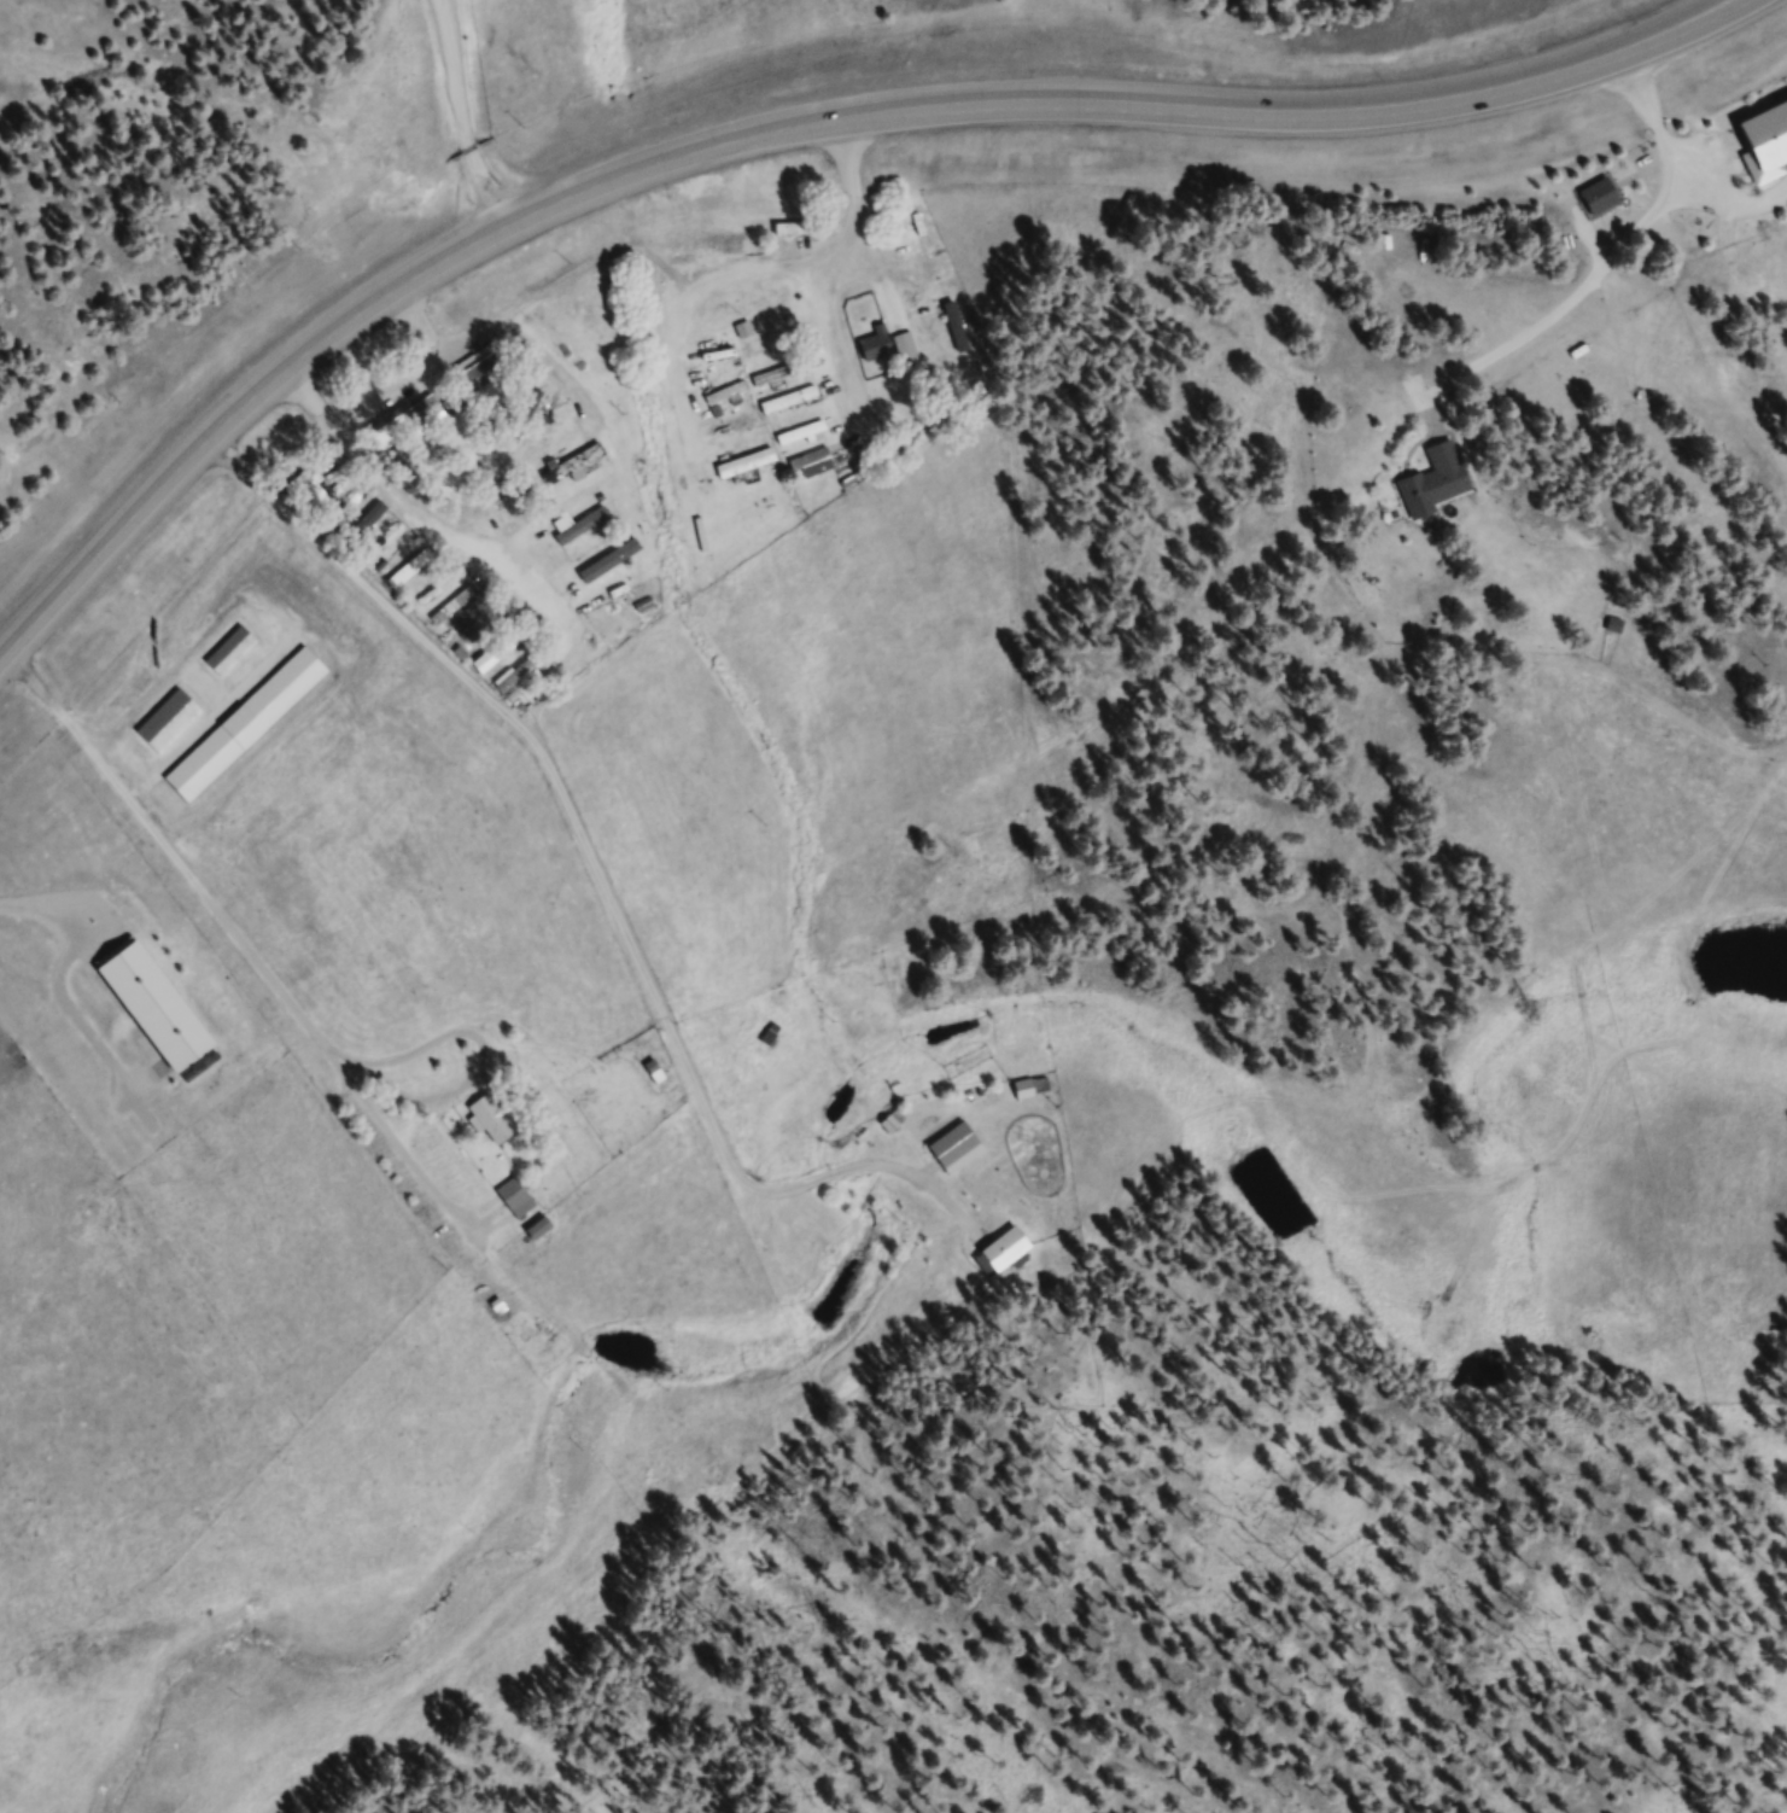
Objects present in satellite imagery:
road: (466, 115)
road: (786, 126)
building: (1770, 148)
building: (1608, 200)
building: (801, 233)
building: (929, 243)
building: (714, 250)
road: (741, 275)
building: (782, 292)
building: (777, 311)
road: (504, 330)
building: (883, 348)
building: (769, 349)
road: (841, 354)
building: (491, 367)
building: (782, 378)
building: (732, 397)
building: (795, 403)
building: (738, 429)
building: (398, 437)
building: (819, 466)
building: (753, 467)
building: (572, 471)
building: (1442, 486)
building: (320, 495)
road: (419, 511)
building: (378, 524)
building: (588, 529)
building: (404, 582)
building: (618, 597)
building: (236, 653)
building: (175, 724)
building: (146, 984)
building: (777, 1038)
building: (1036, 1090)
building: (498, 1121)
building: (899, 1124)
building: (963, 1150)
building: (521, 1200)
building: (548, 1231)
building: (1011, 1252)

